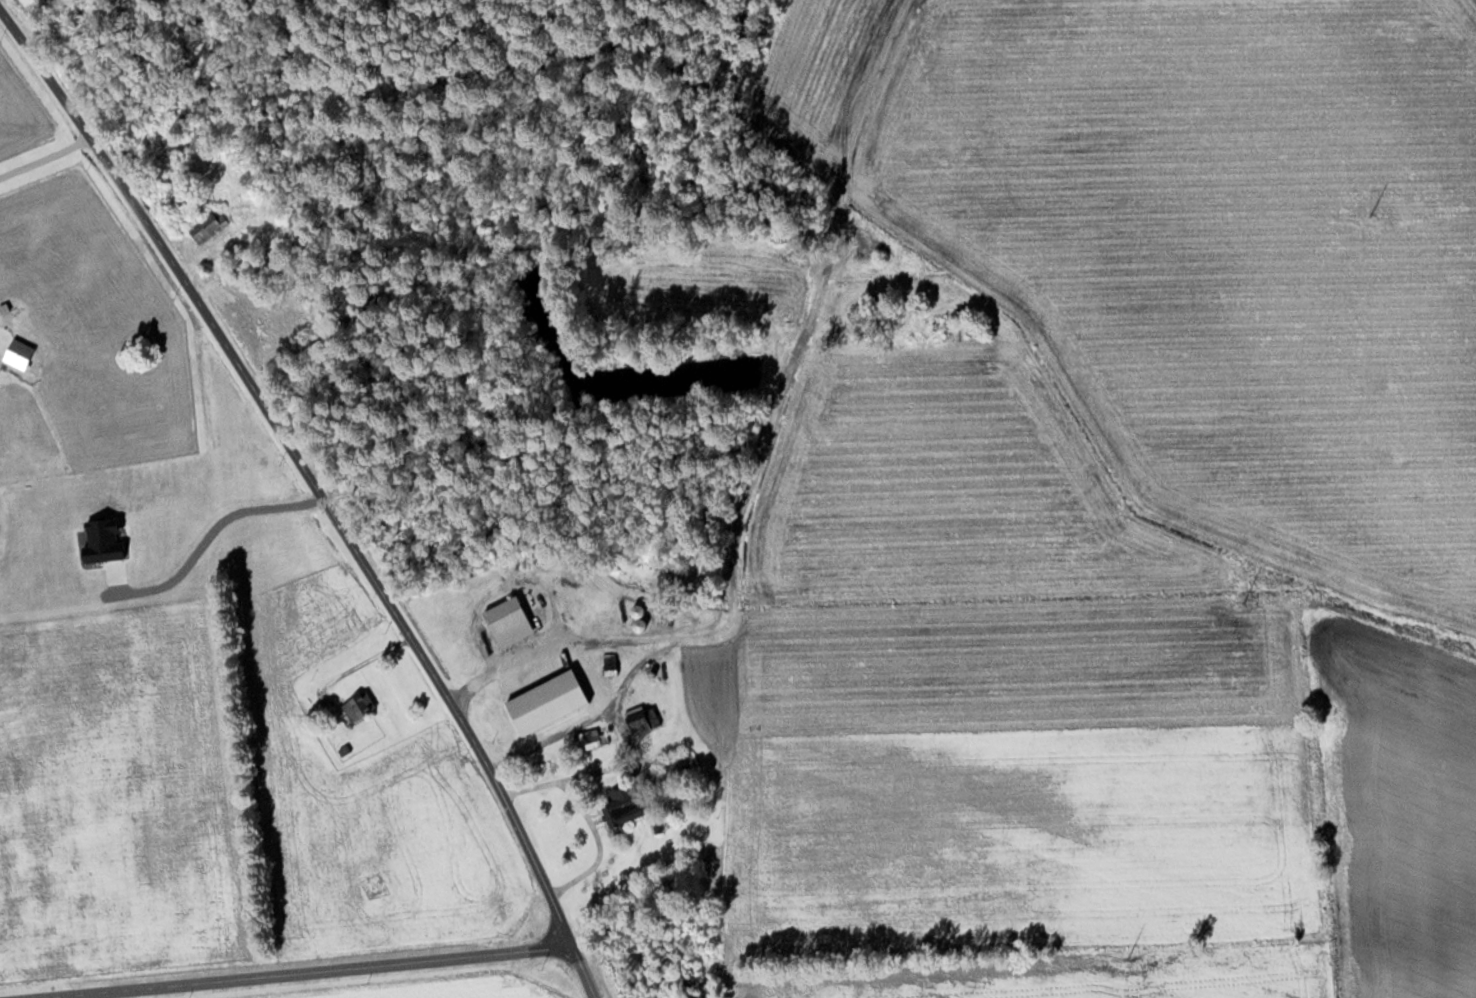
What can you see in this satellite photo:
road: (43, 156)
building: (206, 226)
building: (280, 317)
building: (18, 352)
road: (315, 492)
building: (508, 621)
road: (601, 699)
building: (358, 705)
building: (641, 722)
road: (545, 736)
building: (595, 738)
building: (627, 803)
road: (595, 841)
road: (294, 971)

